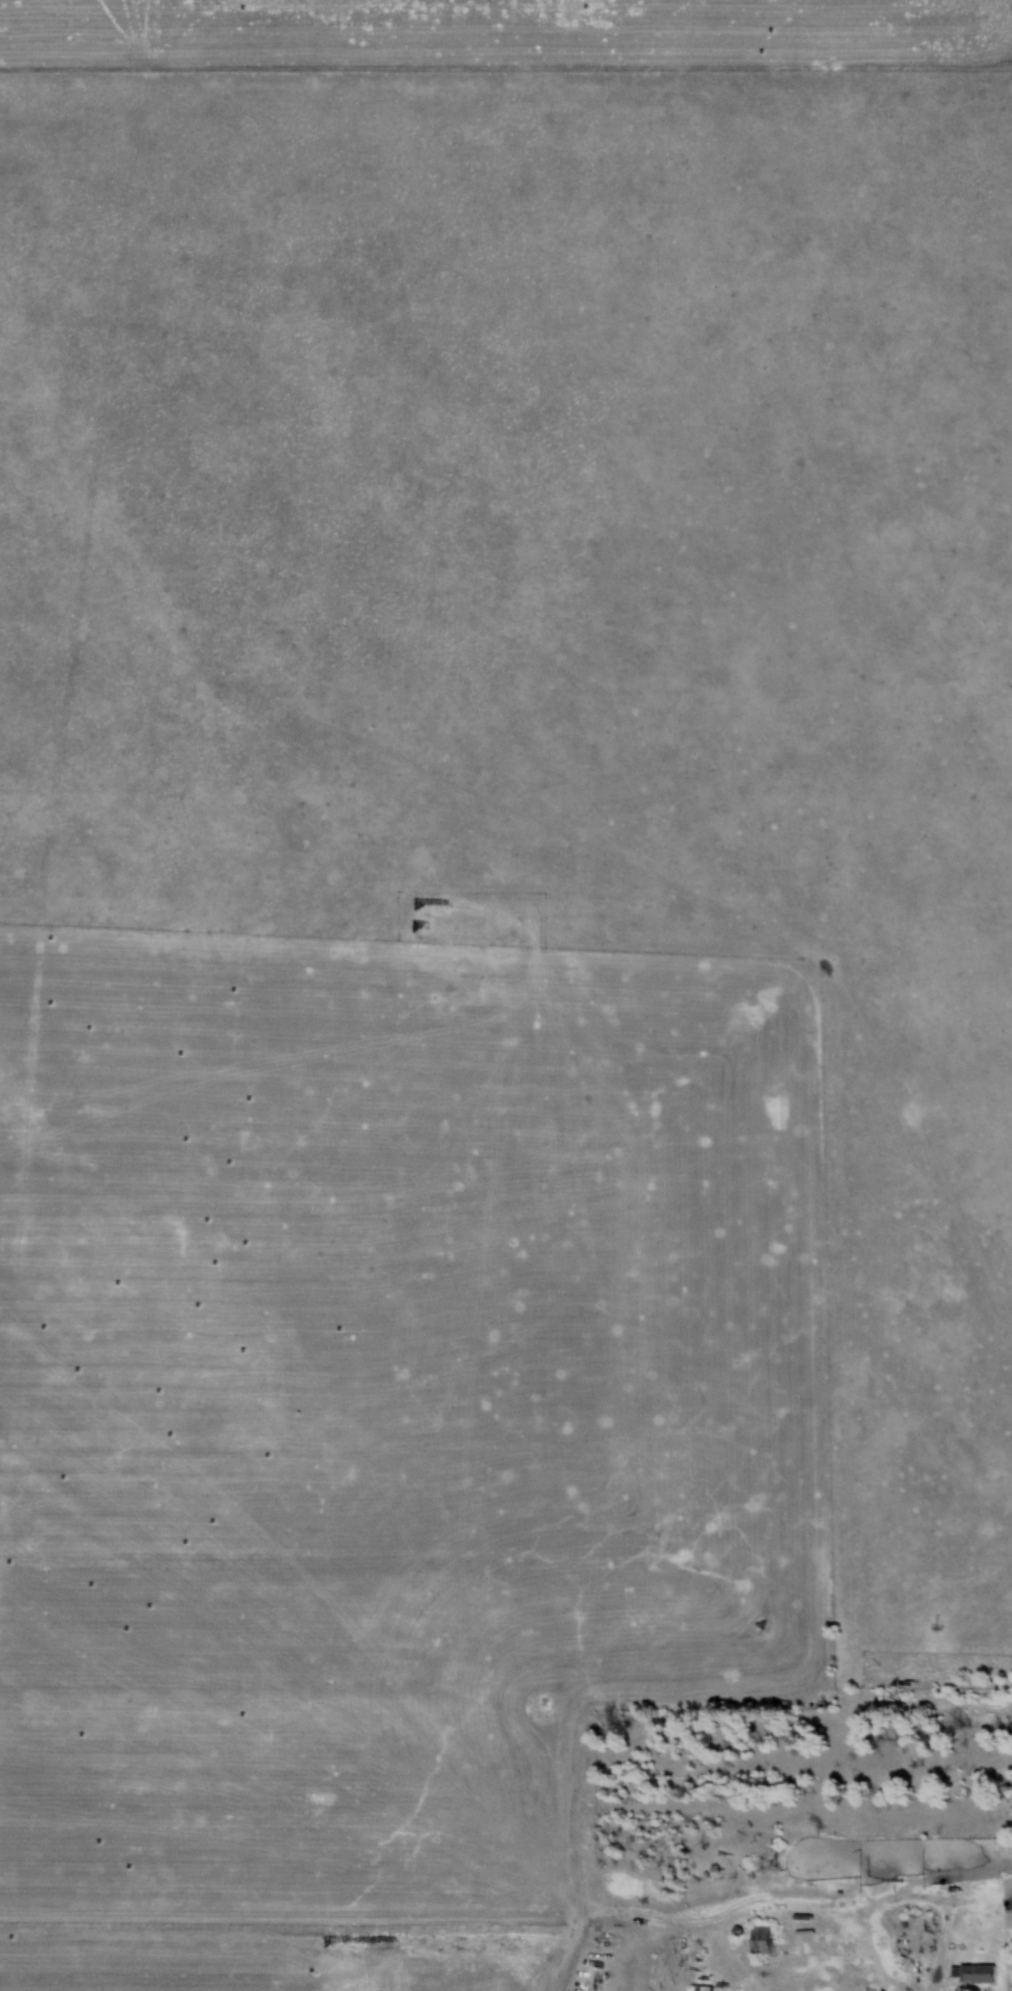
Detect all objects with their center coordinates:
building: (912, 1921)
building: (759, 1941)
building: (936, 1964)
building: (951, 1971)
building: (973, 1974)
building: (698, 1988)

